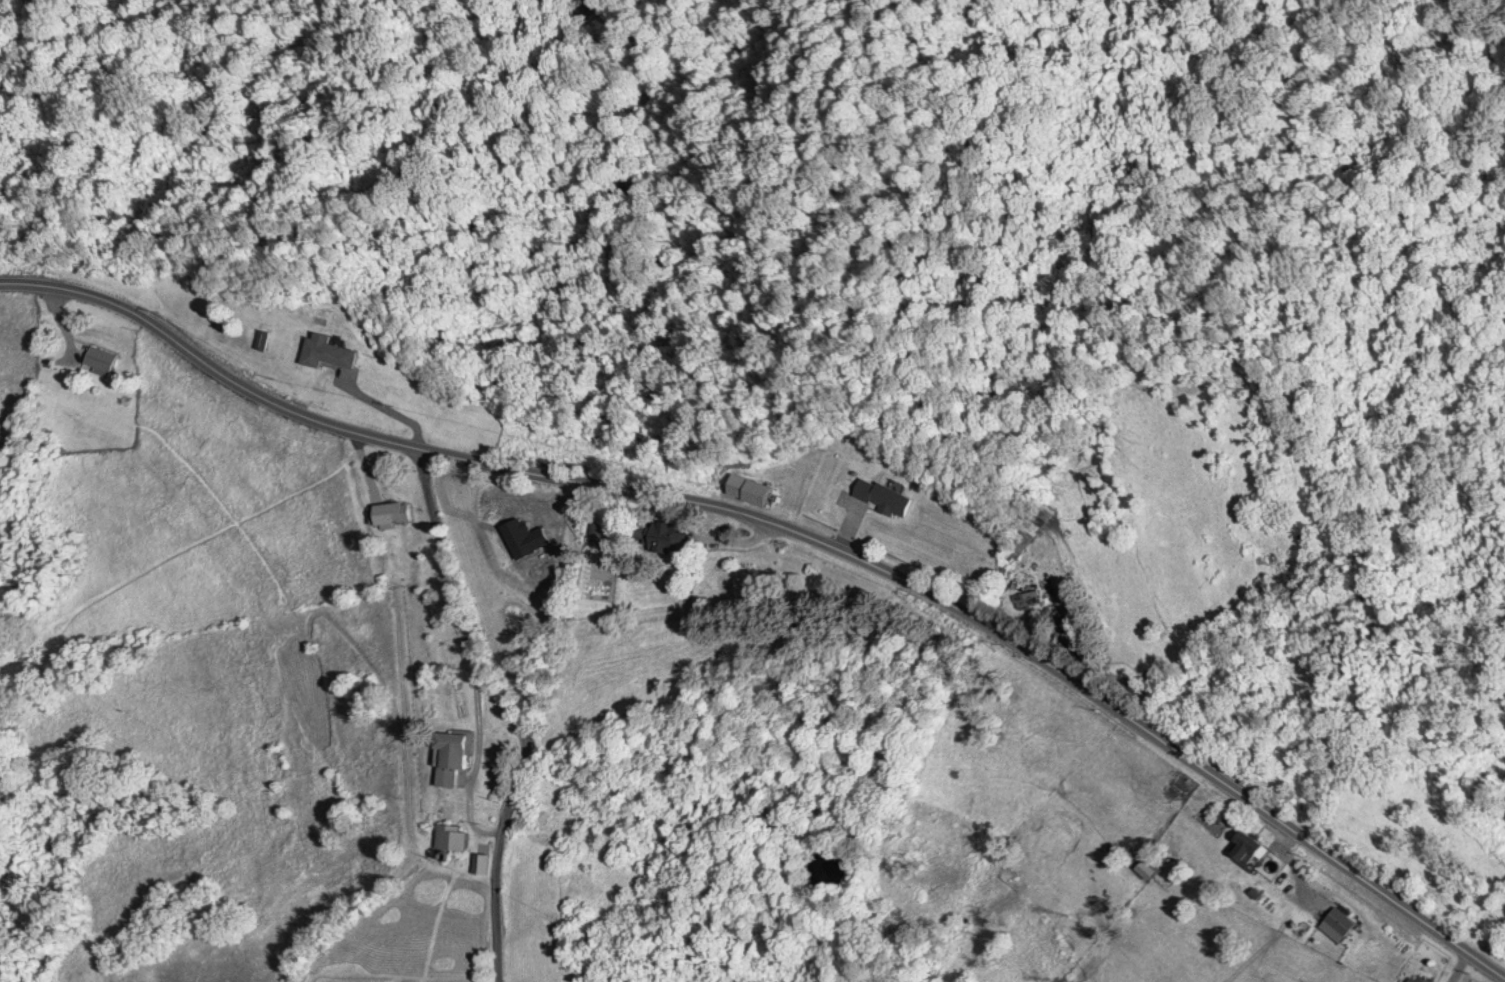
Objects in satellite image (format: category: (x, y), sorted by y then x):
building: (265, 343)
building: (328, 353)
building: (99, 360)
building: (885, 497)
building: (393, 513)
road: (793, 527)
building: (1035, 531)
building: (667, 538)
building: (1066, 625)
road: (509, 710)
building: (455, 755)
building: (452, 837)
building: (1250, 848)
building: (480, 863)
building: (1416, 978)

